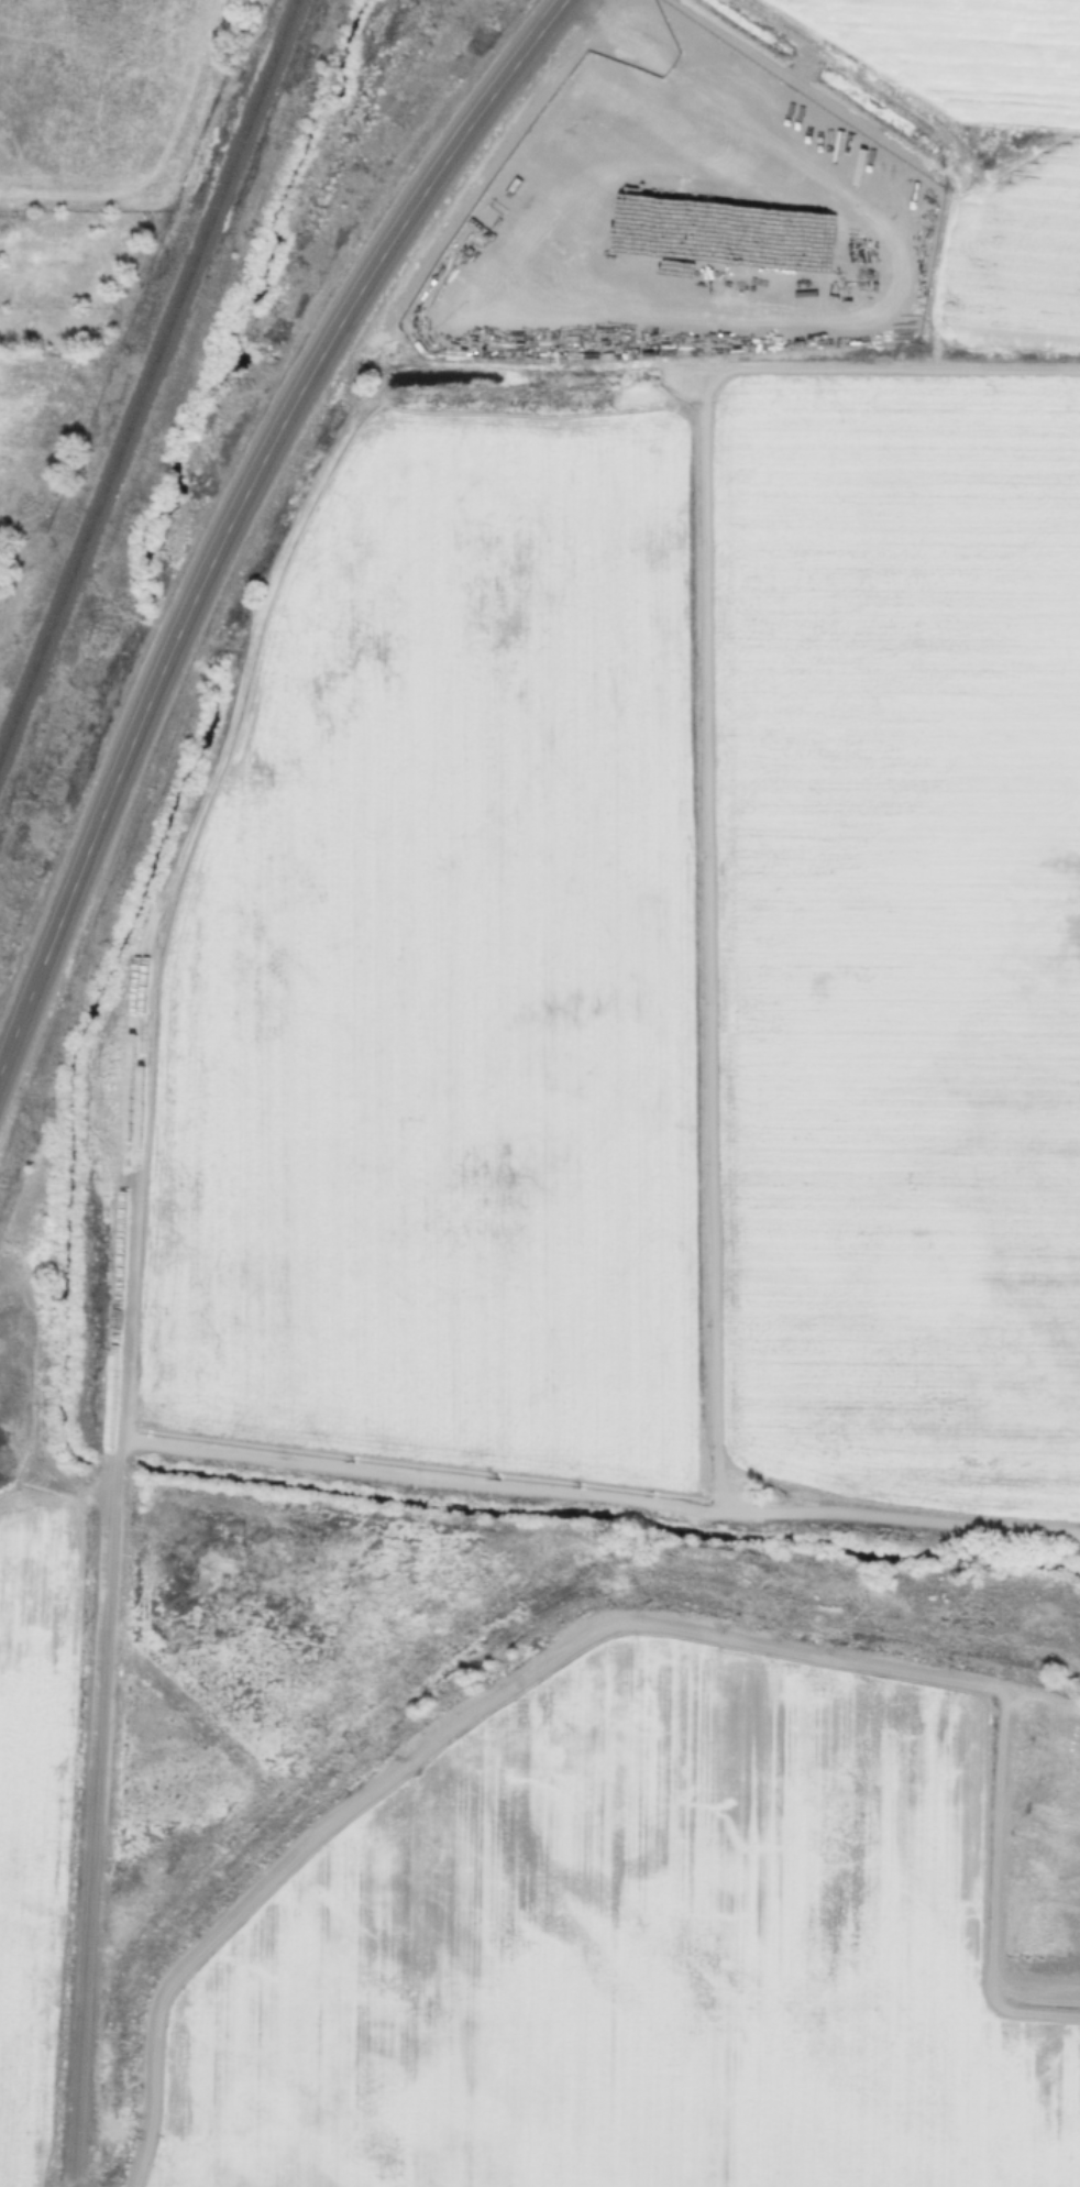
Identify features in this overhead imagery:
railway: (146, 375)
road: (238, 509)
road: (111, 1636)

